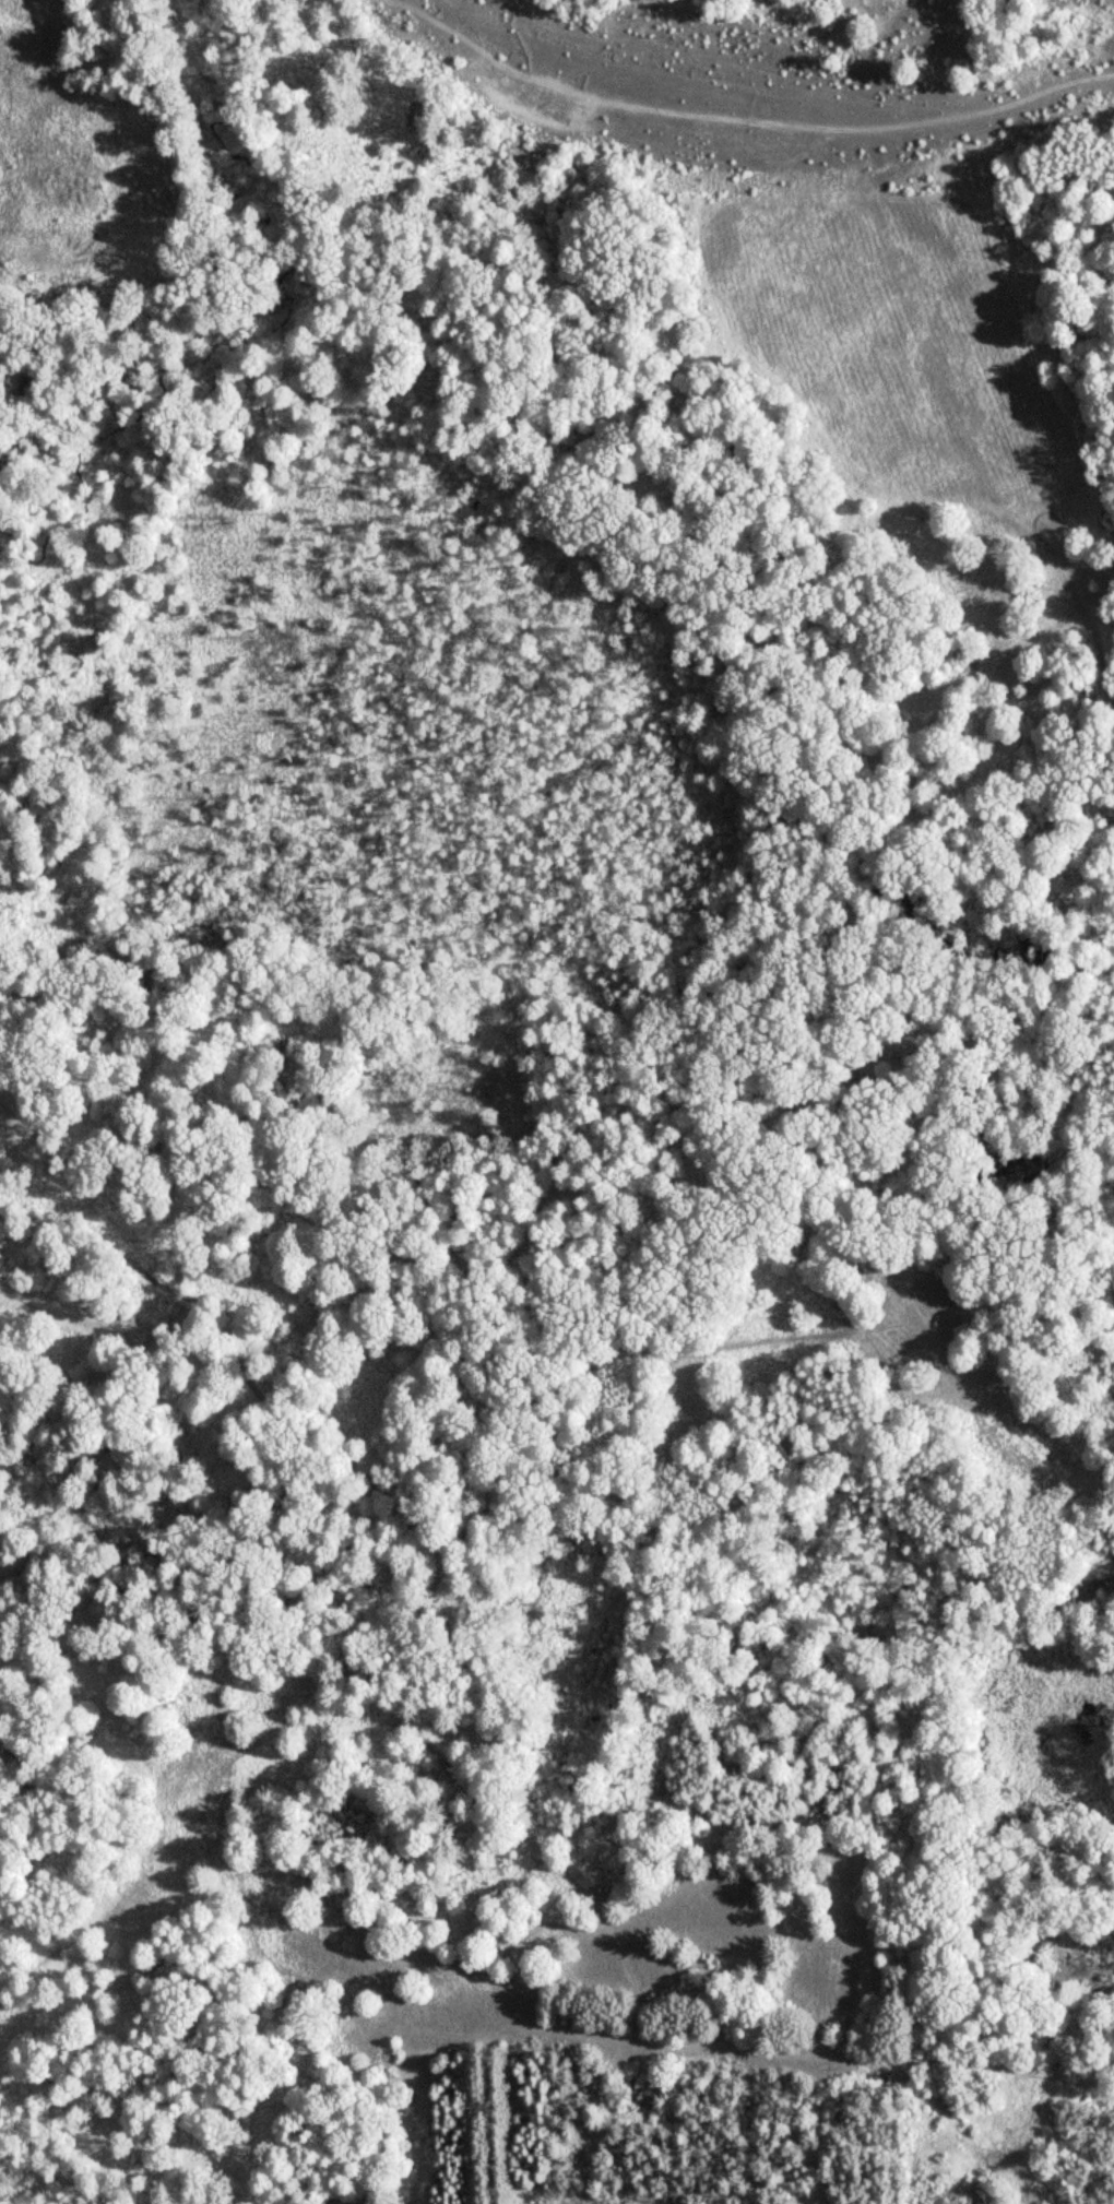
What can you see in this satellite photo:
park: (971, 11)

